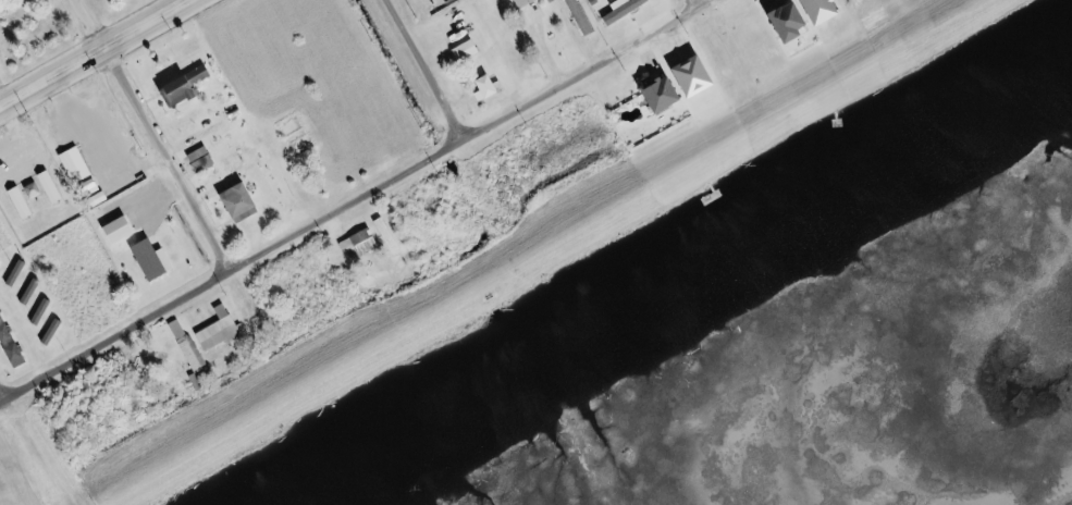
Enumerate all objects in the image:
building: (528, 3)
road: (699, 3)
building: (584, 17)
building: (794, 21)
road: (89, 50)
building: (471, 50)
road: (422, 69)
building: (495, 86)
building: (192, 87)
road: (153, 135)
building: (206, 159)
building: (79, 164)
building: (54, 187)
road: (356, 199)
building: (248, 202)
building: (25, 204)
building: (125, 230)
building: (398, 245)
building: (158, 260)
building: (2, 315)
building: (223, 330)
building: (13, 344)

